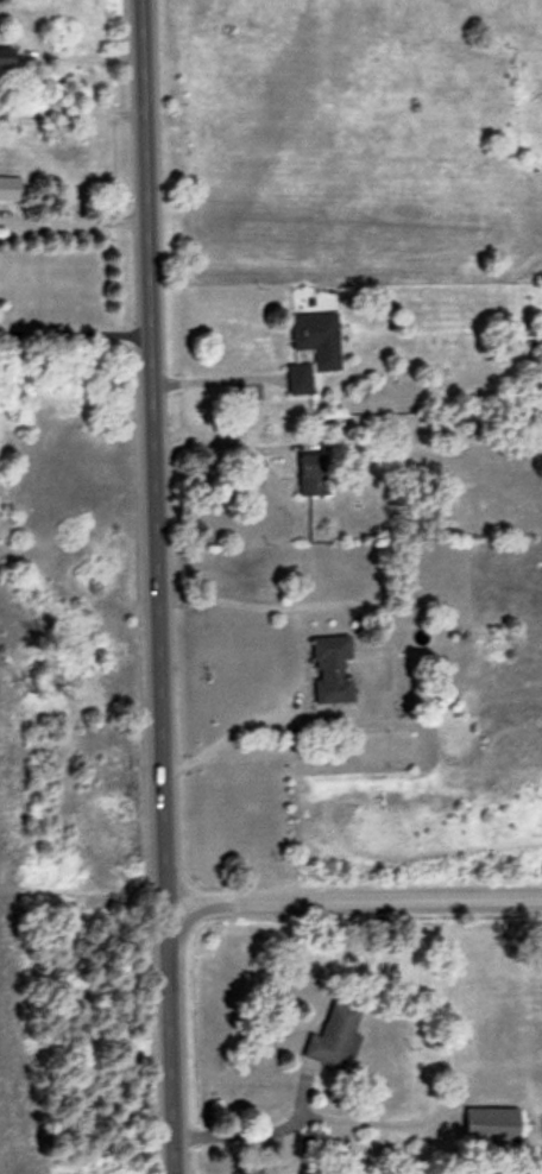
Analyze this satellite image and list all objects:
road: (78, 219)
building: (314, 336)
building: (296, 378)
building: (307, 473)
road: (159, 587)
building: (328, 669)
road: (354, 901)
park: (63, 979)
building: (332, 1035)
road: (326, 1115)
building: (487, 1125)

